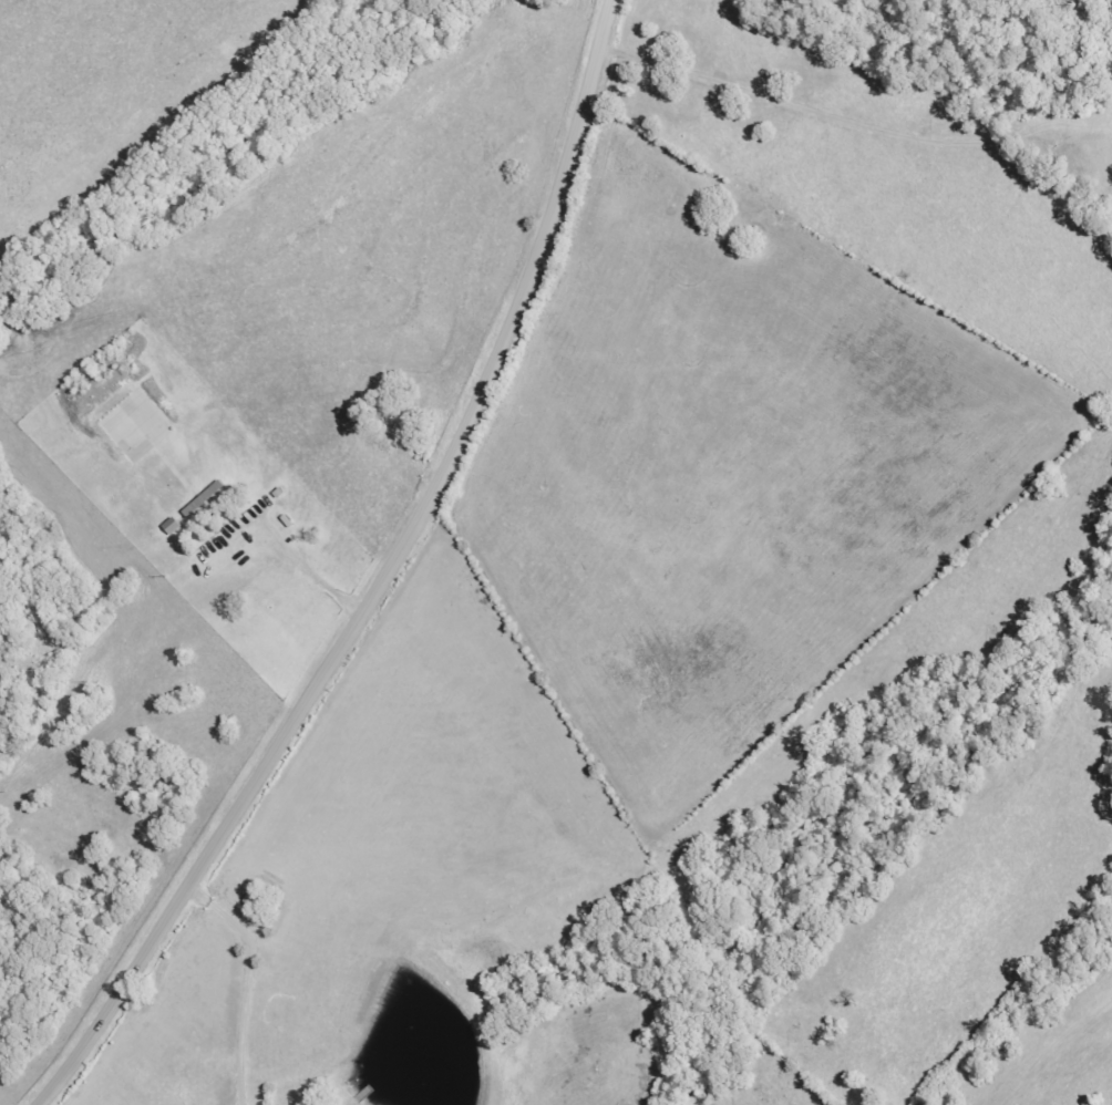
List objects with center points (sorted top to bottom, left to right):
road: (385, 579)

